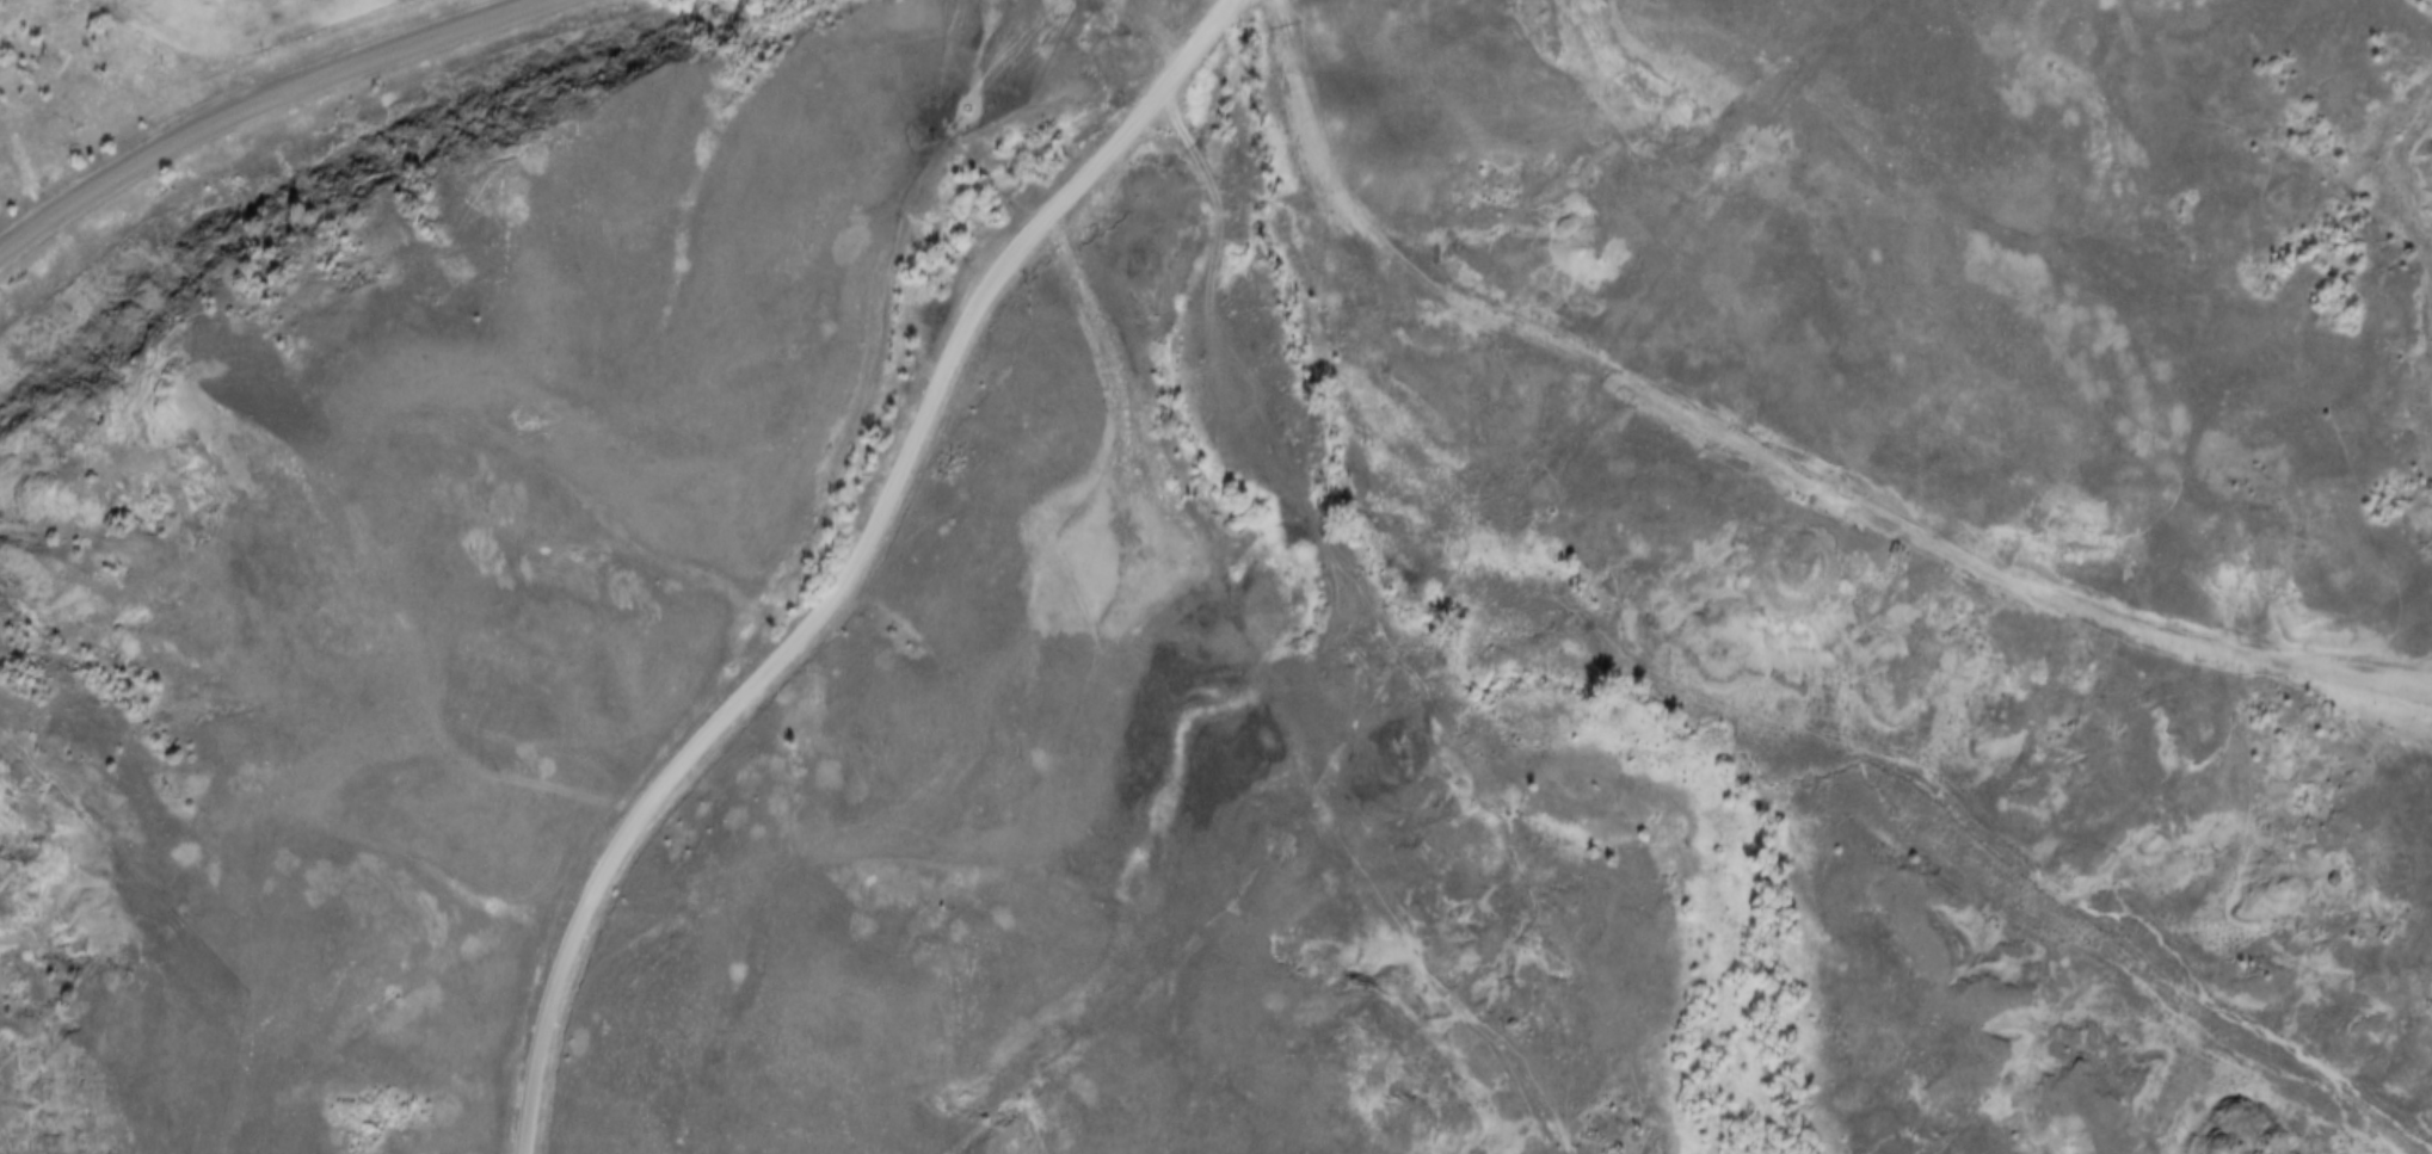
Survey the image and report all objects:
road: (271, 104)
road: (1754, 474)
road: (855, 566)

